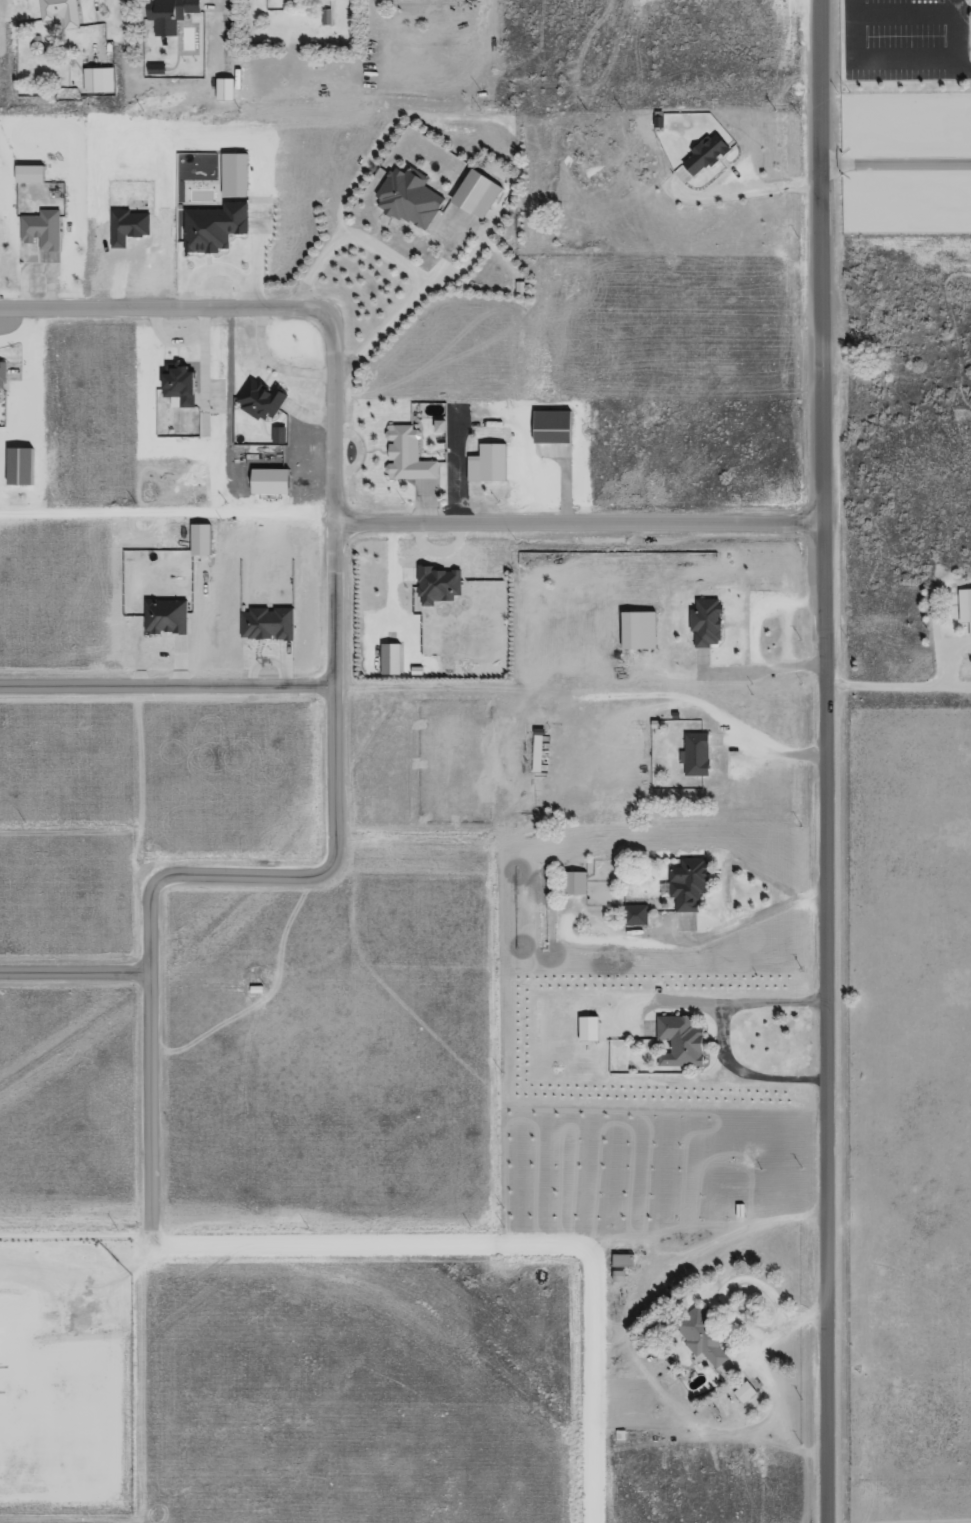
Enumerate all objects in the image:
parking lot: (735, 5)
road: (956, 9)
road: (735, 10)
building: (61, 13)
road: (94, 13)
road: (184, 15)
building: (168, 16)
road: (582, 16)
road: (931, 18)
road: (866, 20)
road: (62, 23)
road: (77, 32)
road: (969, 33)
road: (58, 35)
road: (32, 37)
road: (918, 40)
parking lot: (904, 41)
building: (36, 50)
road: (64, 51)
road: (563, 60)
road: (866, 61)
road: (216, 63)
road: (885, 63)
road: (85, 71)
building: (153, 71)
road: (970, 73)
road: (905, 81)
building: (97, 83)
road: (375, 91)
building: (221, 92)
road: (659, 104)
road: (840, 118)
road: (917, 122)
road: (390, 127)
building: (700, 156)
road: (894, 164)
road: (717, 165)
park: (905, 166)
road: (866, 167)
road: (34, 173)
building: (28, 174)
road: (718, 174)
building: (232, 176)
road: (817, 183)
building: (474, 197)
building: (406, 199)
road: (919, 211)
road: (434, 225)
building: (211, 227)
building: (40, 232)
road: (906, 236)
road: (70, 242)
road: (24, 245)
road: (34, 253)
road: (817, 263)
road: (501, 265)
road: (33, 267)
building: (518, 290)
road: (951, 334)
road: (175, 345)
road: (228, 358)
road: (185, 364)
road: (334, 373)
building: (2, 377)
road: (263, 380)
building: (179, 387)
road: (226, 397)
road: (1, 399)
road: (436, 401)
building: (259, 403)
road: (564, 409)
road: (500, 413)
road: (422, 417)
road: (334, 420)
road: (493, 420)
road: (144, 421)
road: (210, 423)
road: (286, 425)
building: (436, 427)
building: (550, 429)
road: (268, 434)
road: (38, 437)
building: (277, 438)
road: (550, 445)
road: (350, 450)
road: (15, 451)
road: (369, 453)
road: (430, 456)
road: (355, 457)
building: (405, 457)
road: (570, 459)
road: (251, 463)
road: (288, 463)
building: (485, 466)
road: (297, 468)
road: (2, 469)
building: (17, 469)
road: (251, 472)
road: (442, 473)
road: (435, 481)
road: (237, 484)
building: (269, 484)
road: (1, 487)
road: (334, 493)
road: (562, 494)
road: (315, 503)
road: (361, 504)
road: (477, 509)
road: (523, 514)
road: (166, 518)
road: (469, 524)
building: (199, 540)
building: (436, 586)
road: (386, 587)
building: (965, 608)
road: (753, 610)
building: (164, 617)
building: (705, 622)
building: (265, 624)
building: (639, 632)
road: (783, 638)
road: (944, 652)
building: (389, 661)
road: (659, 672)
road: (747, 675)
road: (165, 683)
road: (896, 689)
road: (532, 692)
road: (555, 719)
building: (566, 739)
road: (731, 744)
road: (594, 748)
building: (536, 754)
road: (764, 754)
building: (694, 756)
road: (408, 770)
road: (133, 786)
road: (330, 826)
road: (66, 827)
road: (407, 849)
road: (732, 870)
road: (490, 872)
road: (354, 883)
building: (573, 885)
building: (689, 888)
building: (634, 915)
road: (692, 942)
road: (72, 968)
road: (638, 1008)
road: (822, 1024)
road: (487, 1027)
building: (588, 1032)
building: (680, 1044)
road: (738, 1067)
road: (145, 1103)
road: (557, 1115)
road: (74, 1239)
road: (371, 1239)
road: (634, 1249)
road: (67, 1253)
building: (622, 1263)
road: (81, 1276)
road: (726, 1284)
building: (621, 1291)
building: (702, 1338)
road: (767, 1338)
road: (618, 1339)
road: (595, 1381)
building: (744, 1395)
road: (61, 1397)
building: (781, 1405)
road: (765, 1407)
road: (126, 1438)

